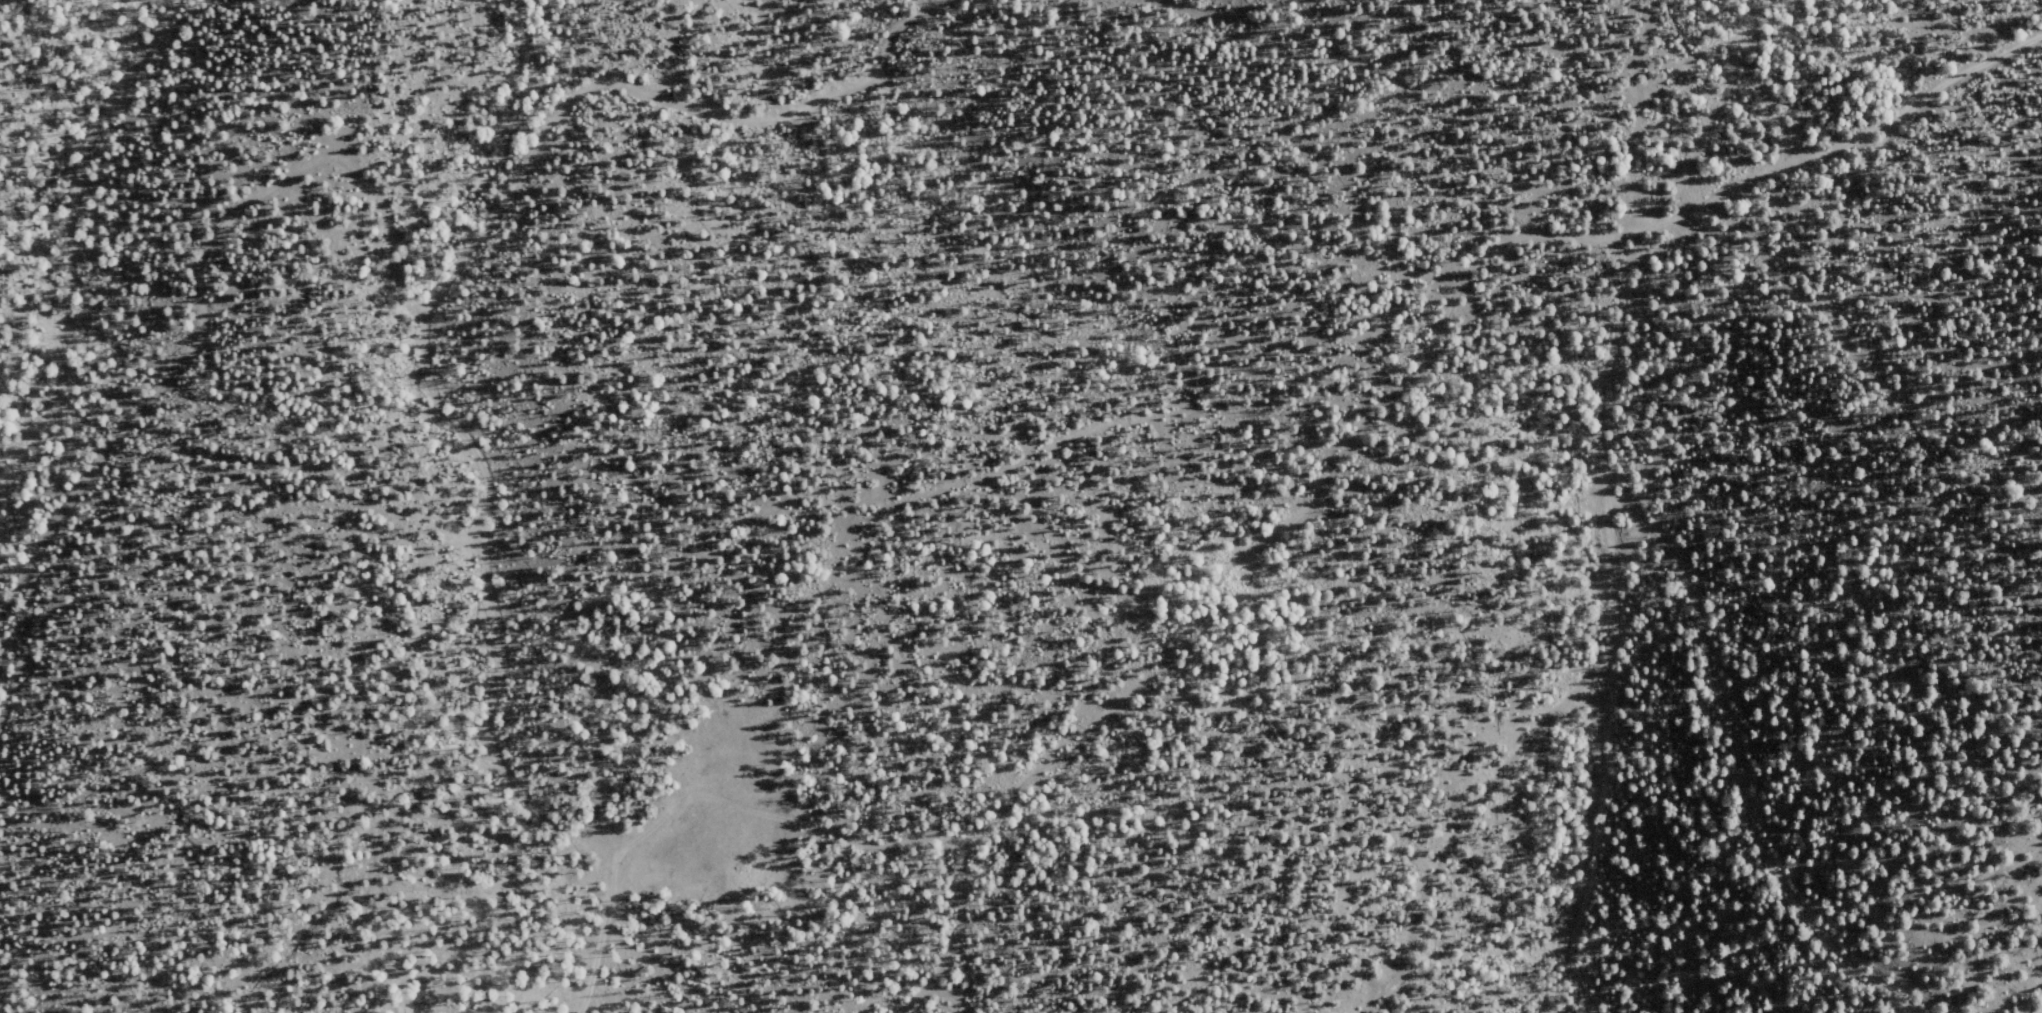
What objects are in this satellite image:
road: (390, 246)
road: (1683, 607)

